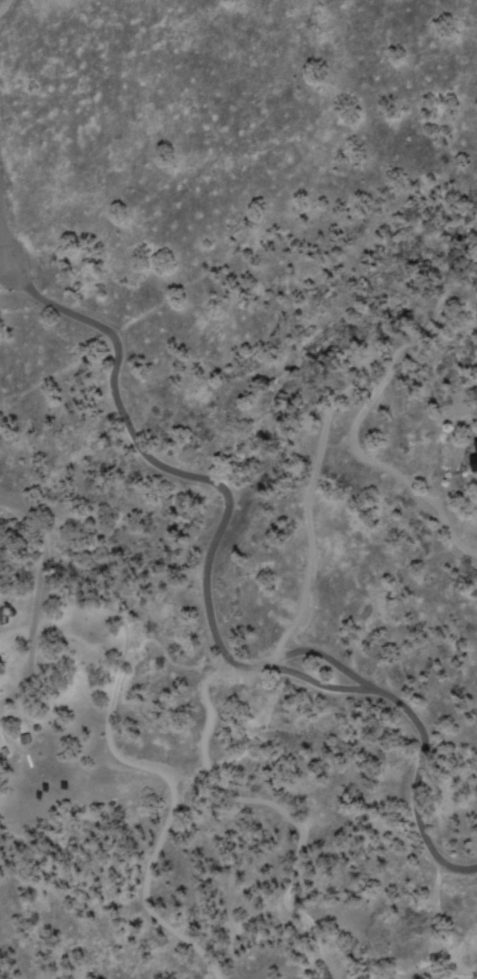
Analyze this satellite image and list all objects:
road: (3, 245)
building: (472, 460)
building: (24, 737)

